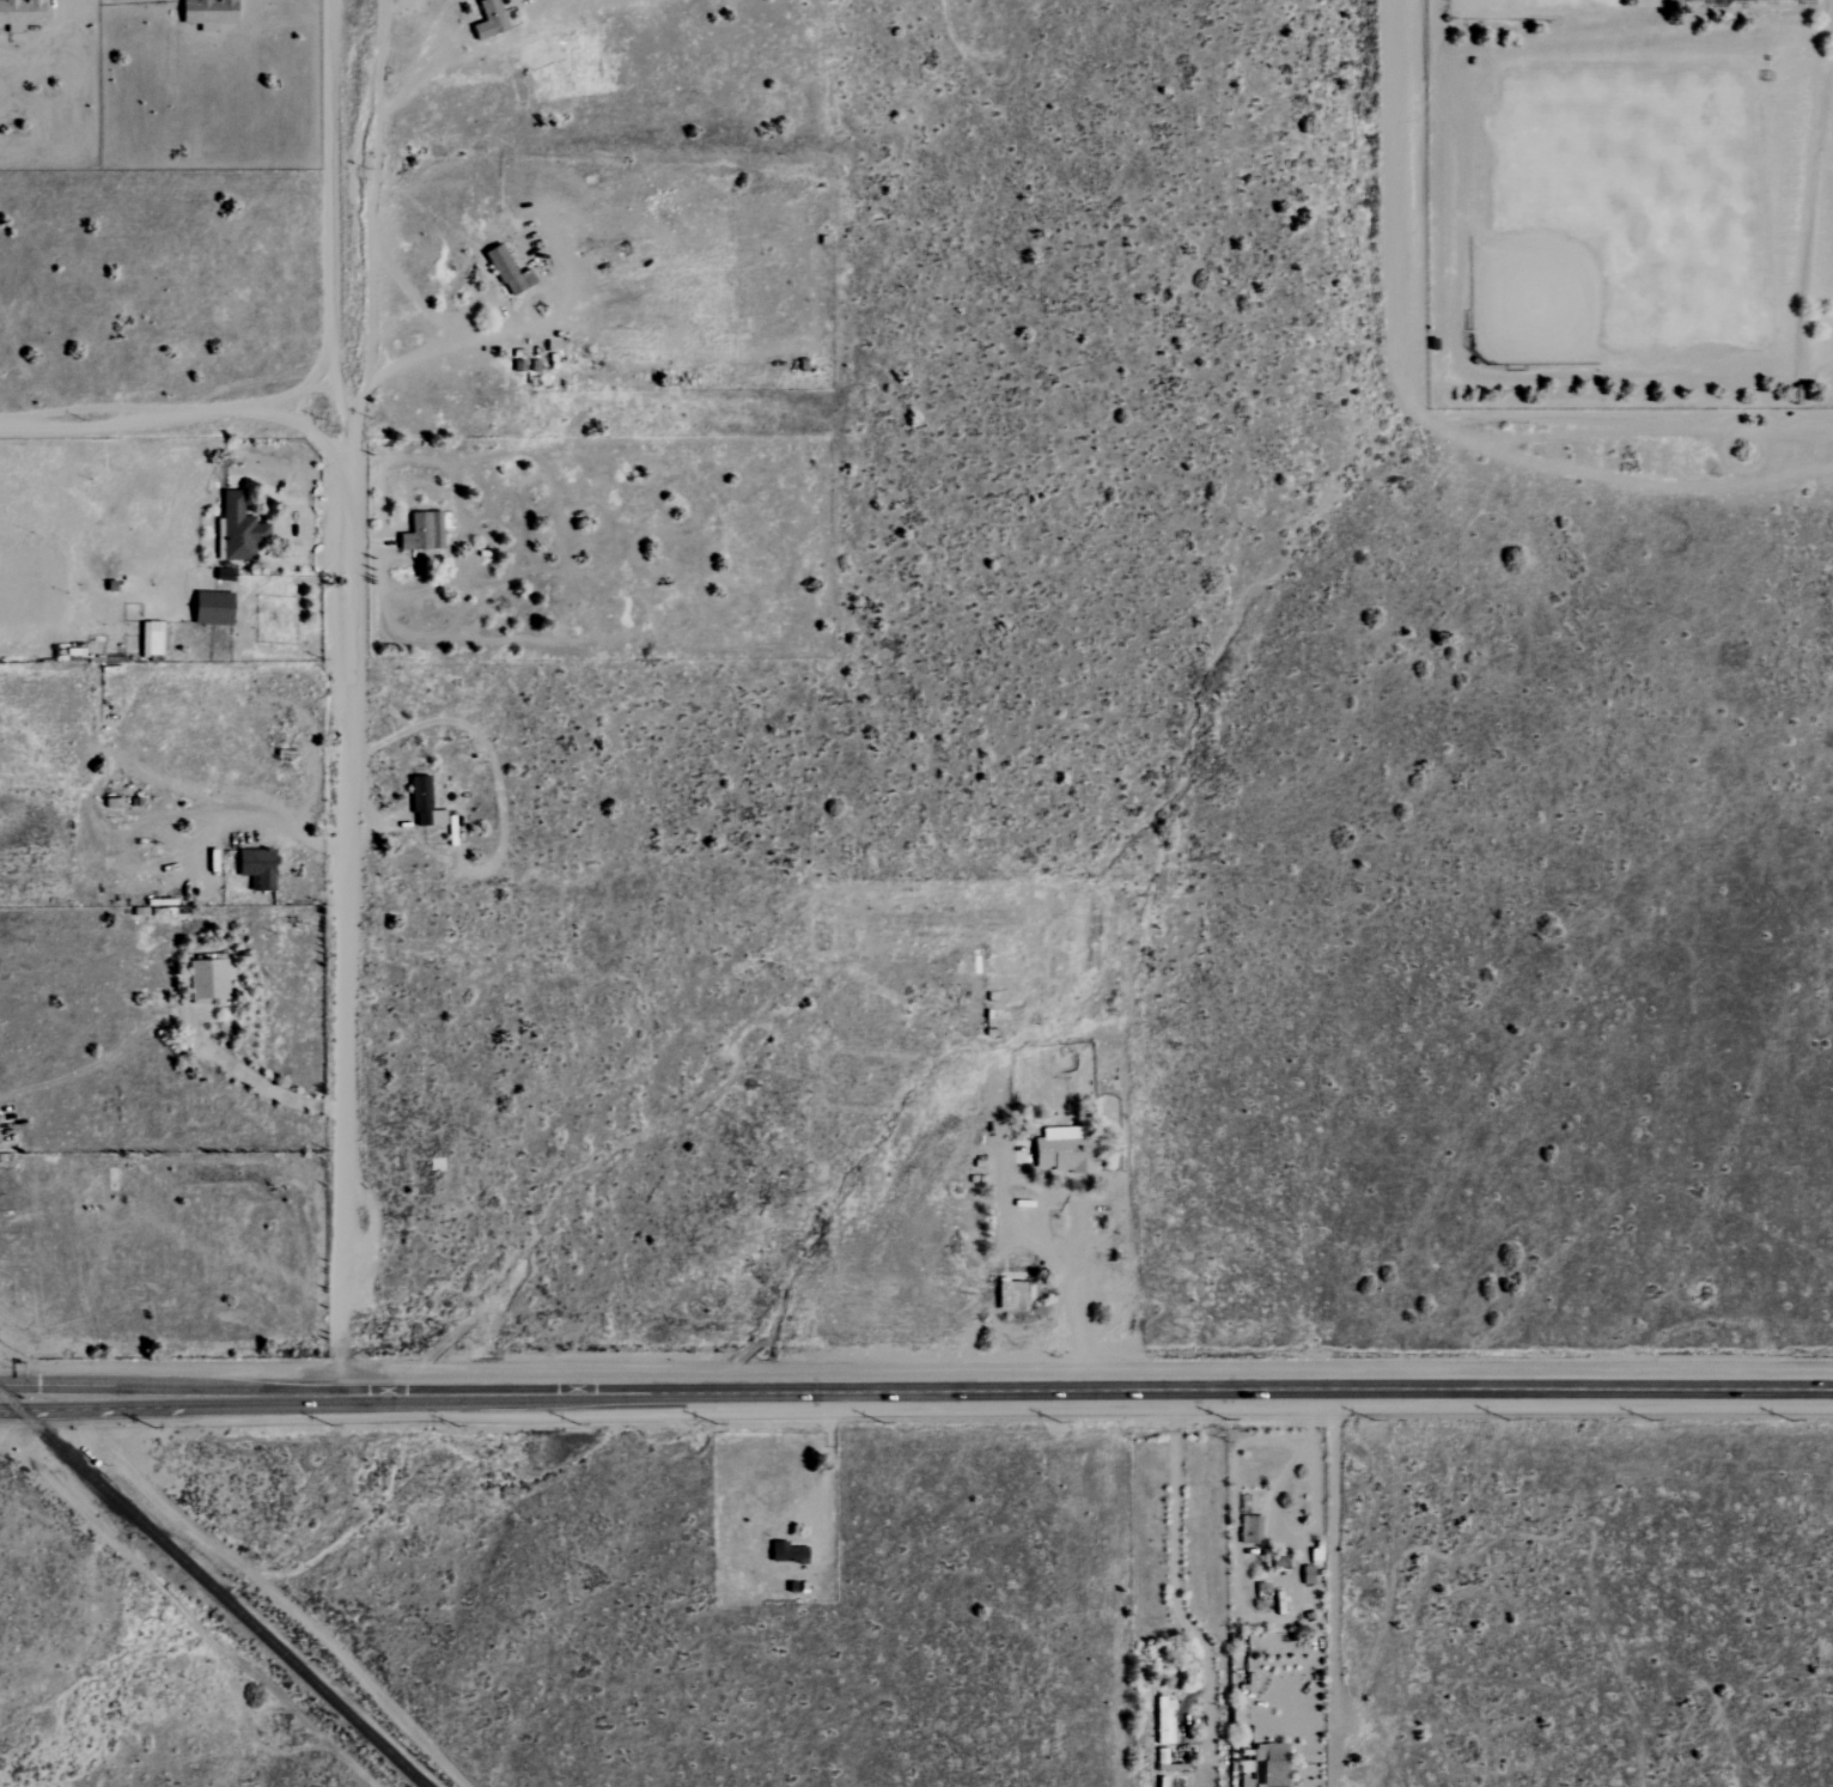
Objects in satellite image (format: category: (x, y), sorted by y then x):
building: (23, 13)
building: (212, 13)
building: (493, 19)
road: (361, 186)
building: (511, 272)
road: (467, 338)
road: (1415, 412)
road: (130, 425)
road: (304, 426)
building: (240, 529)
building: (426, 531)
building: (217, 608)
building: (154, 638)
road: (340, 669)
building: (426, 803)
road: (239, 817)
building: (261, 868)
building: (211, 981)
road: (258, 1082)
building: (1067, 1150)
road: (1068, 1288)
building: (1015, 1295)
road: (339, 1367)
road: (29, 1385)
road: (73, 1391)
road: (960, 1393)
road: (73, 1403)
road: (38, 1409)
road: (10, 1410)
road: (828, 1466)
building: (786, 1551)
railway: (213, 1590)
road: (1335, 1590)
road: (1177, 1616)
building: (1167, 1721)
building: (1273, 1764)

